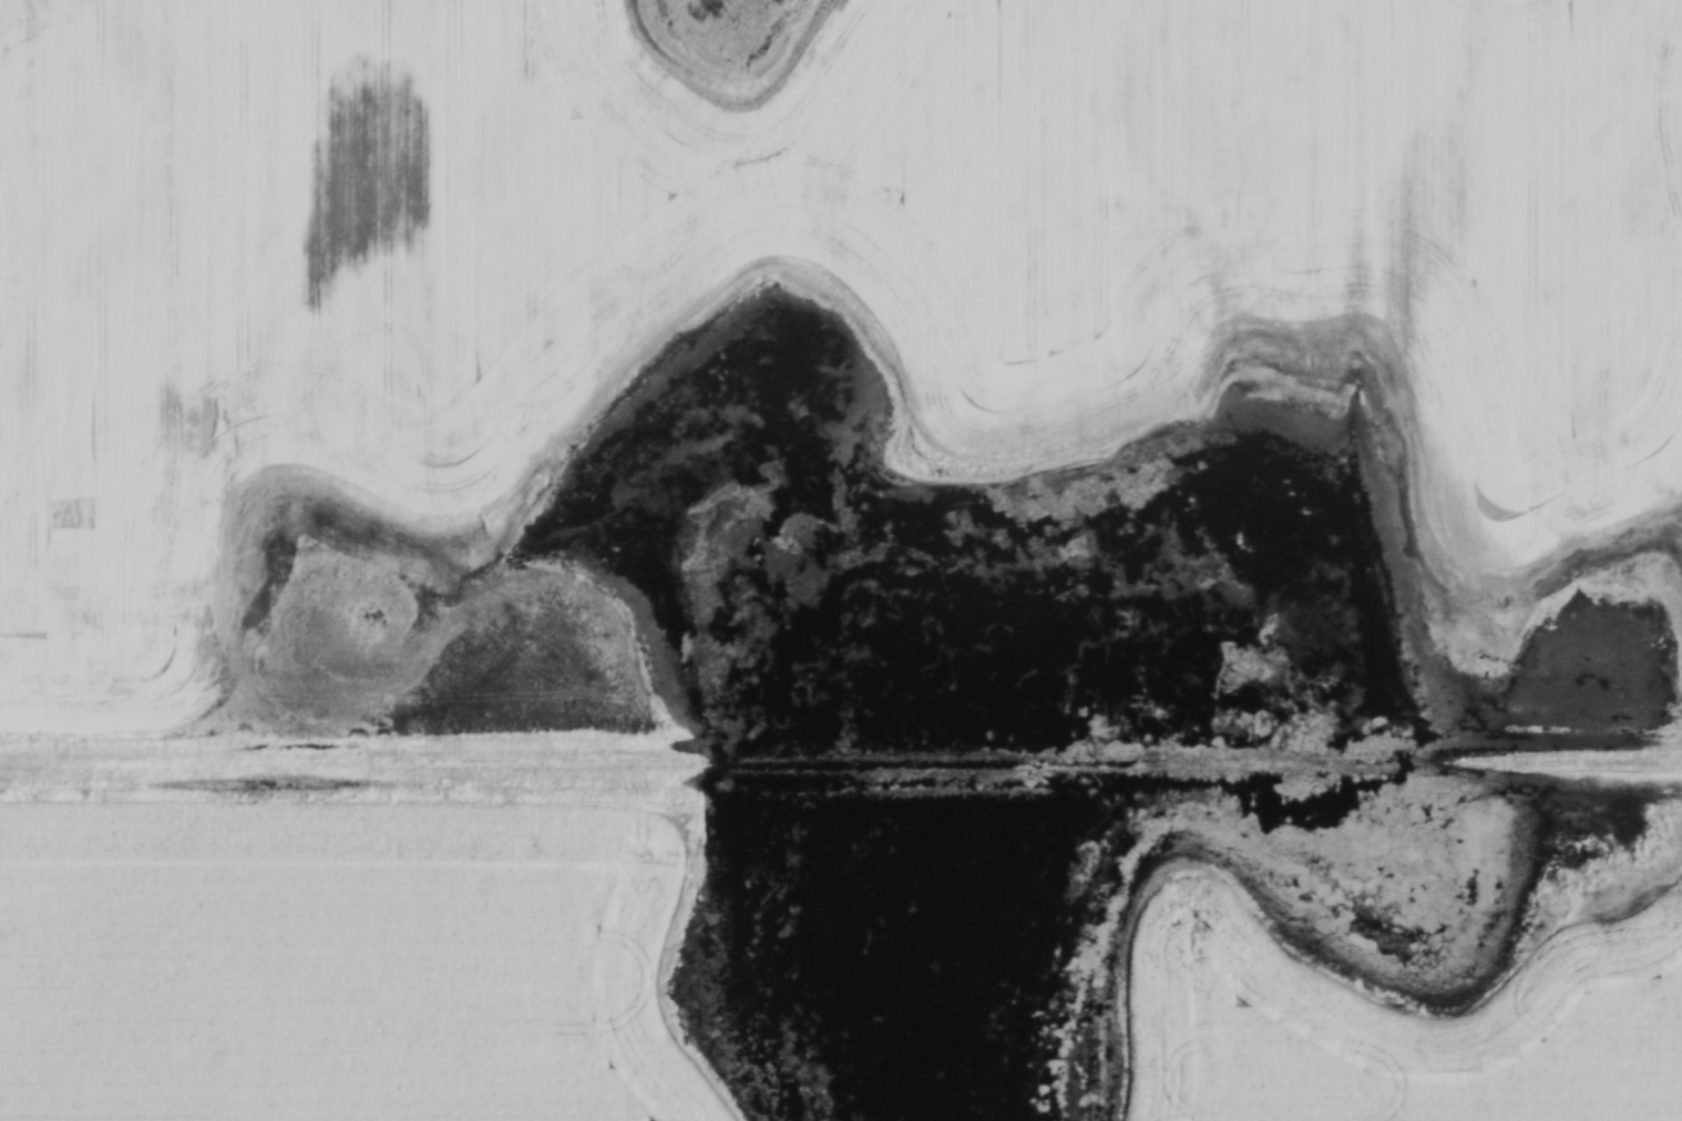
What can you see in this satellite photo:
road: (841, 773)

